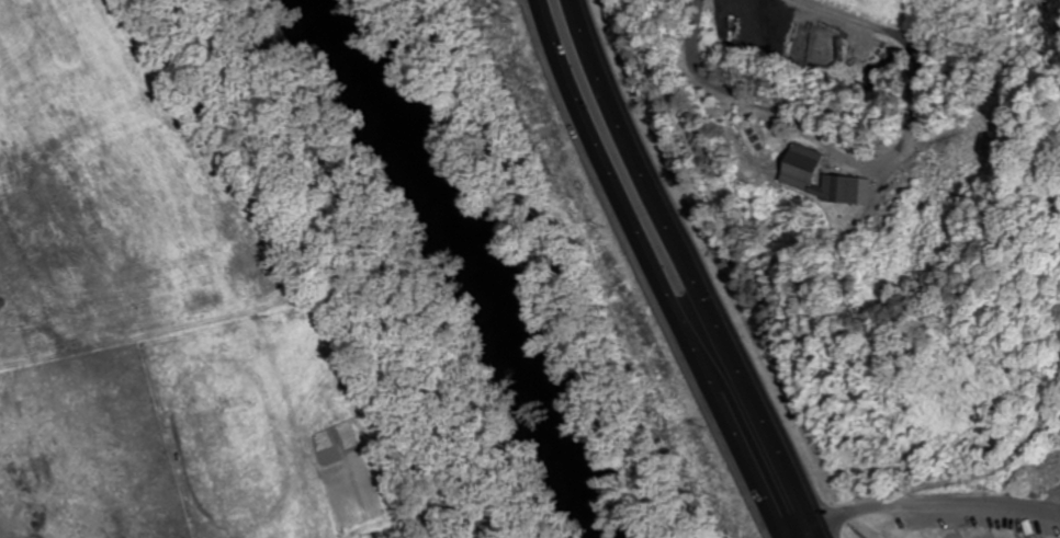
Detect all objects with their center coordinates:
road: (871, 169)
building: (798, 178)
river: (484, 261)
road: (650, 272)
road: (689, 272)
road: (933, 512)

